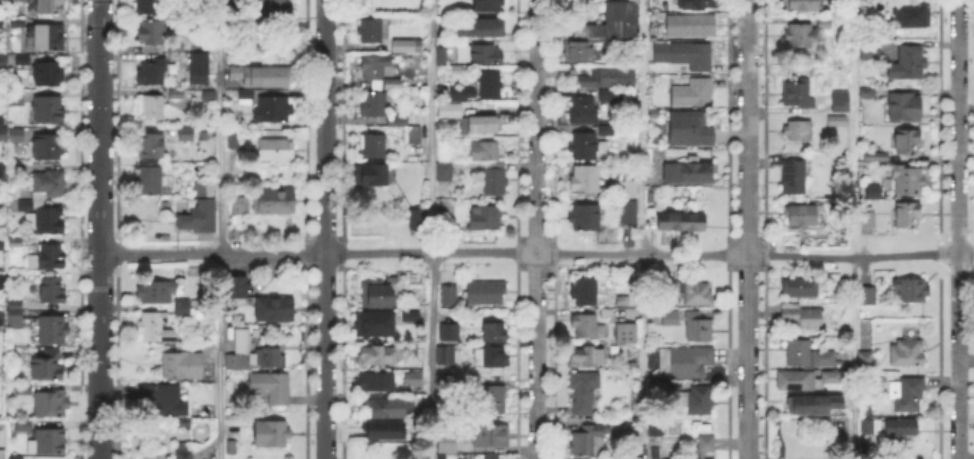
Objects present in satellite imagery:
building: (488, 5)
building: (656, 5)
building: (698, 5)
building: (50, 6)
building: (150, 6)
building: (801, 6)
building: (278, 9)
building: (913, 17)
building: (613, 21)
building: (18, 22)
building: (1, 23)
building: (825, 26)
building: (688, 27)
building: (373, 29)
building: (483, 30)
building: (151, 32)
building: (800, 36)
building: (47, 37)
building: (176, 46)
building: (407, 46)
building: (578, 49)
building: (870, 51)
building: (482, 54)
building: (443, 57)
building: (686, 57)
building: (23, 59)
building: (2, 61)
building: (909, 63)
building: (375, 66)
building: (199, 69)
building: (153, 71)
building: (49, 72)
building: (264, 75)
building: (608, 78)
building: (490, 86)
building: (864, 91)
building: (463, 92)
building: (177, 94)
building: (693, 94)
building: (798, 94)
building: (209, 95)
building: (611, 95)
building: (17, 98)
building: (840, 103)
building: (373, 104)
building: (153, 106)
building: (448, 108)
building: (49, 109)
building: (273, 109)
building: (904, 109)
building: (583, 110)
building: (838, 123)
building: (481, 124)
building: (607, 130)
building: (691, 130)
building: (187, 131)
building: (799, 131)
building: (10, 132)
building: (412, 133)
building: (234, 141)
building: (908, 143)
building: (151, 144)
building: (375, 144)
building: (587, 144)
building: (49, 145)
building: (275, 147)
building: (486, 149)
building: (874, 158)
building: (1, 169)
building: (18, 171)
building: (447, 171)
building: (684, 171)
building: (371, 175)
building: (794, 178)
building: (496, 180)
building: (585, 180)
building: (149, 182)
building: (909, 183)
building: (49, 184)
building: (627, 189)
building: (208, 190)
building: (874, 192)
building: (652, 197)
building: (275, 202)
building: (26, 206)
building: (240, 206)
building: (651, 213)
building: (630, 214)
building: (908, 216)
building: (584, 217)
building: (200, 218)
building: (485, 218)
building: (799, 218)
building: (868, 218)
building: (418, 220)
building: (45, 221)
building: (681, 222)
road: (99, 229)
road: (220, 229)
road: (325, 229)
road: (433, 229)
road: (536, 229)
road: (641, 229)
road: (748, 229)
road: (851, 229)
road: (958, 229)
building: (16, 243)
building: (2, 245)
road: (536, 255)
building: (51, 257)
building: (2, 281)
building: (237, 288)
building: (801, 288)
building: (674, 290)
building: (53, 291)
building: (585, 291)
building: (911, 292)
building: (155, 293)
building: (377, 294)
building: (486, 294)
building: (697, 294)
building: (449, 295)
building: (867, 297)
building: (623, 303)
building: (185, 310)
building: (275, 310)
building: (14, 315)
building: (803, 316)
building: (1, 319)
building: (671, 319)
building: (377, 324)
building: (584, 326)
building: (156, 328)
building: (54, 329)
building: (699, 329)
building: (495, 333)
building: (449, 334)
building: (627, 334)
building: (239, 351)
building: (908, 354)
building: (445, 355)
building: (475, 355)
building: (377, 356)
building: (809, 356)
building: (587, 357)
building: (268, 358)
building: (490, 358)
building: (867, 361)
building: (685, 362)
building: (183, 366)
building: (49, 367)
building: (414, 379)
building: (807, 381)
building: (375, 383)
building: (272, 388)
building: (458, 389)
building: (23, 390)
building: (660, 390)
building: (584, 392)
building: (908, 394)
building: (163, 399)
building: (415, 400)
building: (495, 400)
building: (699, 401)
building: (51, 405)
building: (814, 405)
building: (381, 411)
building: (867, 424)
building: (185, 425)
building: (24, 426)
building: (656, 431)
building: (384, 432)
building: (272, 433)
building: (898, 433)
building: (489, 436)
building: (588, 440)
building: (48, 442)
building: (448, 444)
building: (702, 445)
building: (232, 448)
building: (183, 451)
building: (3, 455)
building: (441, 457)
building: (491, 457)
building: (15, 458)
building: (455, 458)
building: (701, 458)

